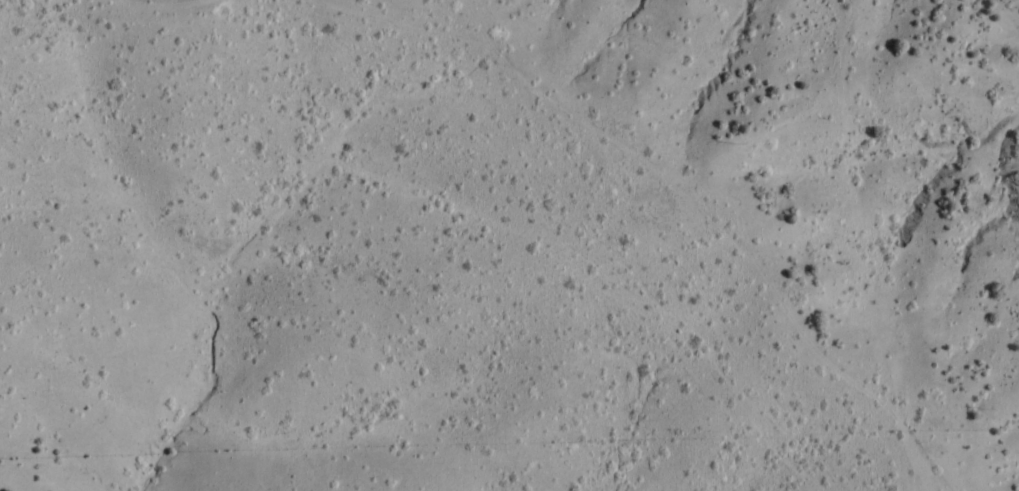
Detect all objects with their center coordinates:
road: (354, 149)
road: (723, 350)

